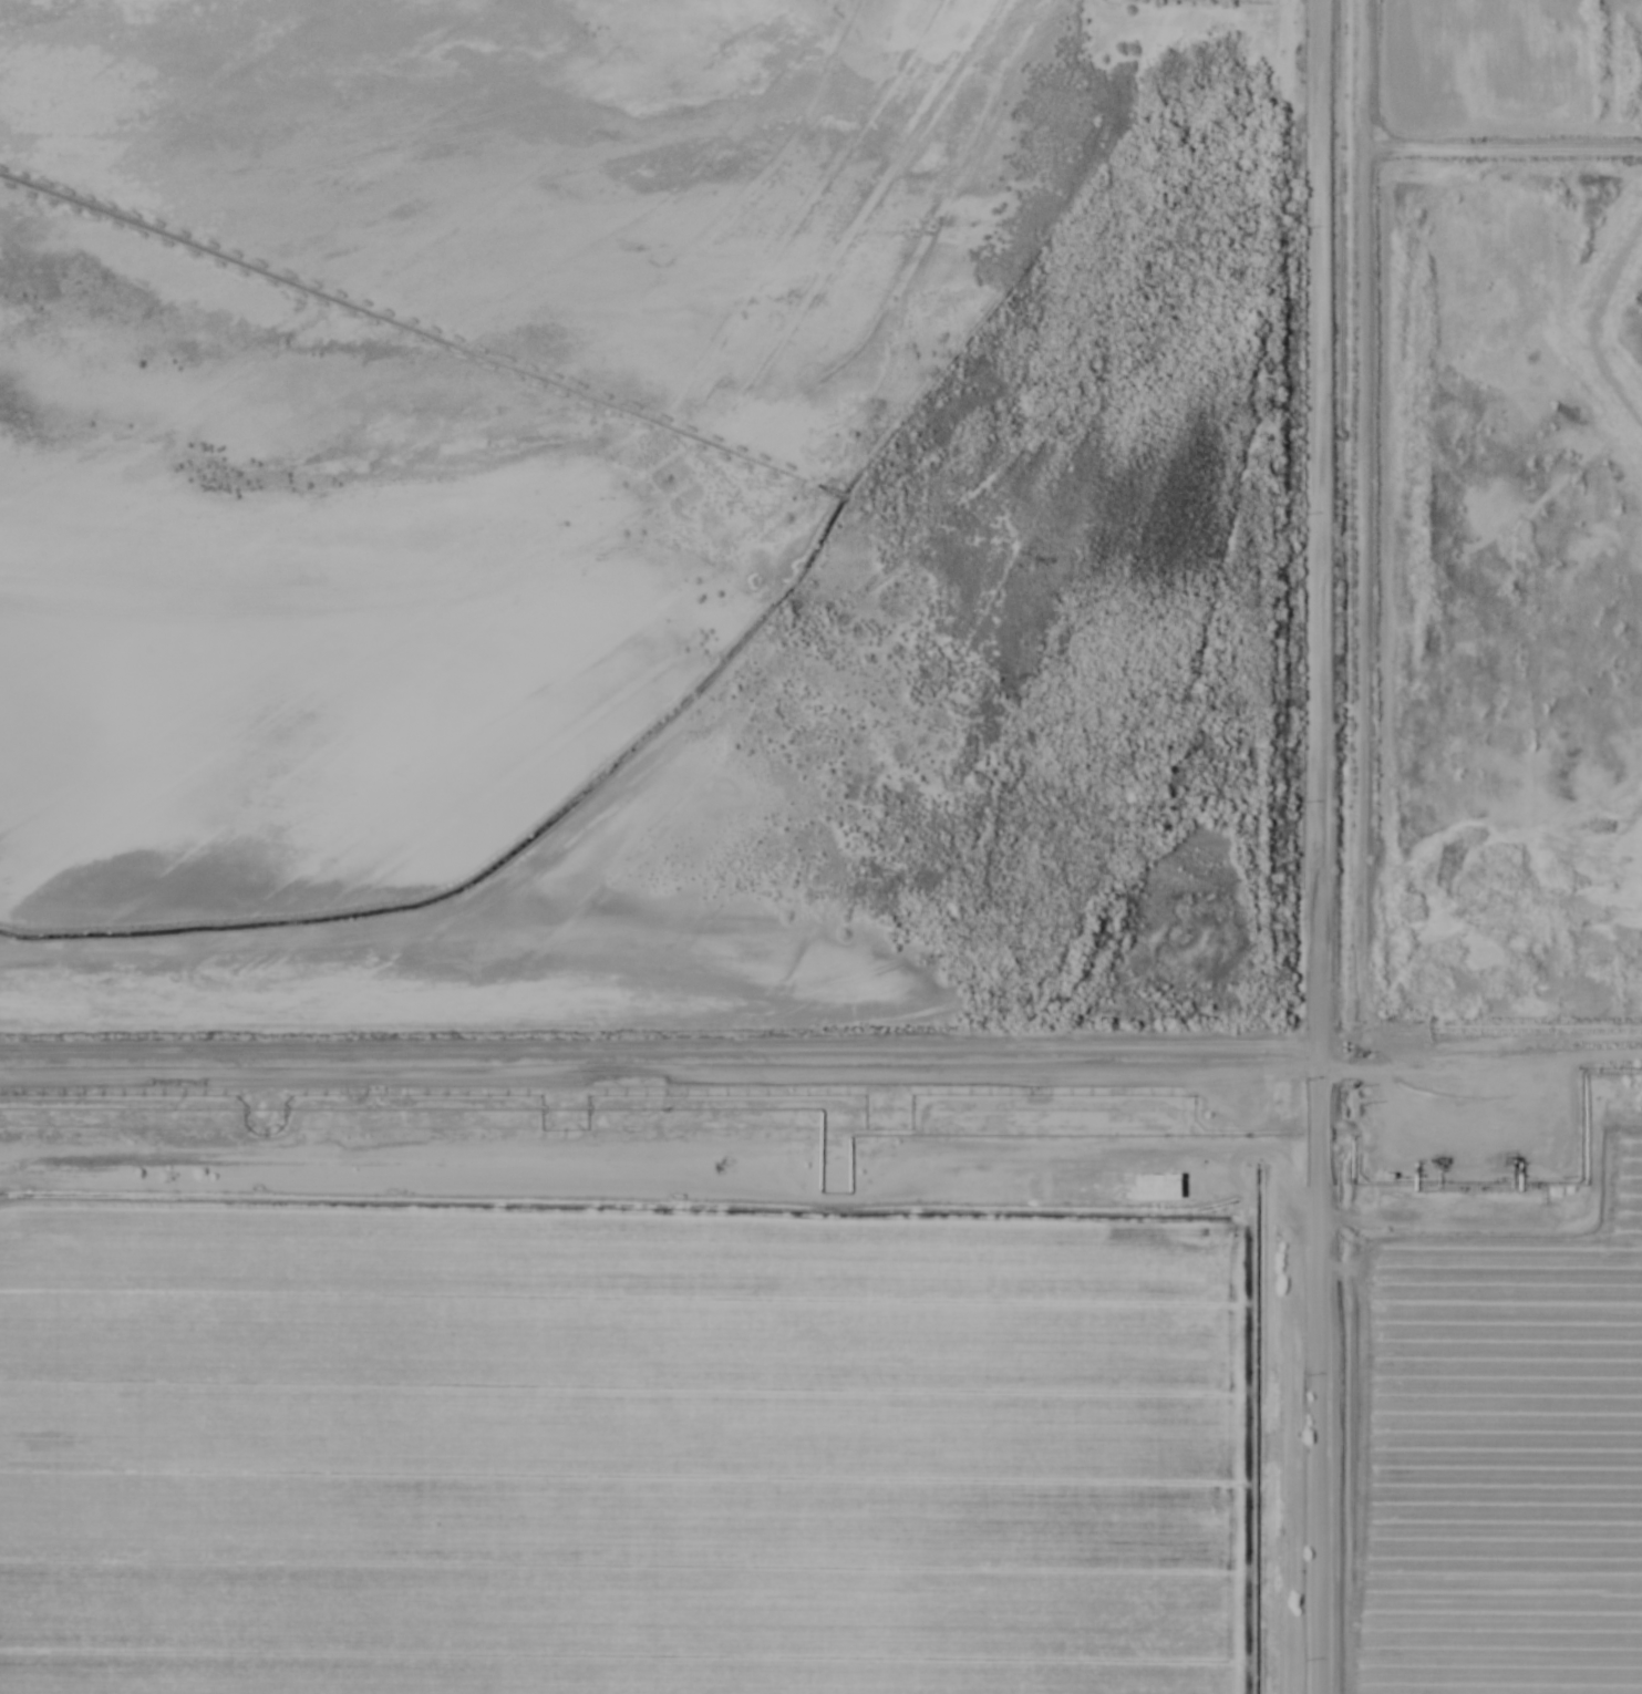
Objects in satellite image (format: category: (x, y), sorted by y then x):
road: (1289, 847)
parking lot: (1397, 1035)

